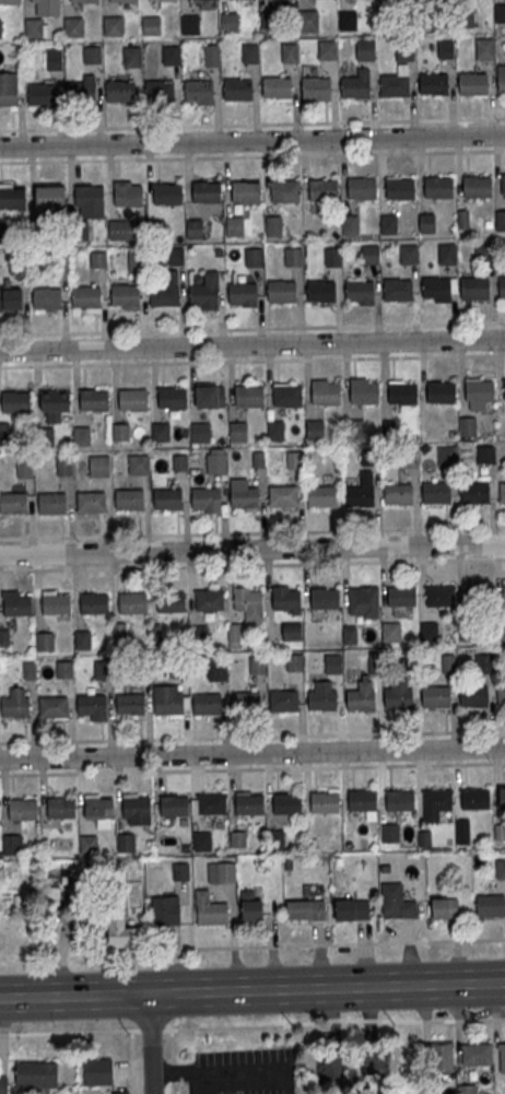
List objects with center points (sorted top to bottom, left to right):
building: (33, 0)
building: (84, 0)
building: (118, 0)
building: (162, 0)
building: (10, 1)
building: (48, 7)
building: (500, 12)
building: (463, 16)
building: (423, 17)
building: (307, 20)
building: (348, 20)
building: (385, 20)
building: (268, 21)
building: (228, 22)
building: (189, 23)
building: (151, 24)
building: (113, 25)
building: (73, 26)
building: (33, 27)
building: (0, 30)
building: (326, 48)
building: (445, 48)
building: (484, 48)
building: (366, 50)
building: (289, 51)
building: (406, 51)
building: (249, 52)
building: (91, 55)
building: (132, 55)
building: (171, 55)
building: (212, 55)
building: (54, 58)
building: (501, 78)
building: (472, 83)
building: (434, 84)
building: (277, 86)
building: (316, 86)
building: (356, 86)
building: (396, 86)
building: (8, 89)
building: (199, 89)
building: (237, 89)
building: (119, 90)
building: (82, 91)
building: (160, 91)
building: (42, 93)
road: (252, 123)
road: (251, 140)
road: (251, 155)
building: (503, 184)
building: (438, 186)
building: (477, 186)
building: (362, 187)
building: (399, 188)
building: (322, 189)
building: (205, 190)
building: (284, 190)
building: (245, 191)
building: (167, 193)
building: (128, 195)
building: (11, 196)
building: (49, 196)
building: (90, 201)
building: (500, 219)
building: (426, 222)
building: (387, 223)
building: (350, 224)
building: (234, 225)
building: (273, 225)
building: (193, 227)
building: (121, 228)
building: (39, 231)
building: (79, 231)
building: (2, 233)
building: (446, 252)
building: (369, 254)
building: (408, 254)
building: (176, 255)
building: (293, 256)
building: (332, 256)
building: (254, 257)
building: (99, 260)
building: (136, 260)
building: (61, 269)
building: (502, 285)
building: (436, 286)
building: (474, 287)
building: (359, 289)
building: (398, 289)
building: (166, 290)
building: (205, 290)
building: (281, 290)
building: (320, 290)
building: (242, 292)
building: (125, 294)
building: (85, 296)
building: (46, 297)
building: (11, 298)
road: (252, 327)
road: (252, 344)
road: (252, 361)
building: (504, 388)
building: (363, 389)
building: (479, 389)
building: (439, 390)
building: (325, 391)
building: (402, 391)
building: (286, 395)
building: (210, 396)
building: (248, 396)
building: (173, 397)
building: (94, 399)
building: (132, 399)
building: (54, 400)
building: (15, 401)
building: (467, 425)
building: (314, 428)
building: (237, 430)
building: (275, 430)
building: (160, 431)
building: (200, 431)
building: (120, 432)
building: (44, 434)
building: (81, 434)
building: (485, 454)
building: (368, 456)
building: (446, 456)
building: (408, 457)
building: (258, 459)
building: (294, 459)
building: (180, 461)
building: (214, 461)
building: (138, 463)
building: (64, 464)
building: (99, 466)
building: (337, 466)
building: (24, 468)
building: (361, 490)
building: (474, 491)
building: (502, 491)
building: (436, 492)
building: (398, 493)
building: (243, 494)
building: (283, 495)
building: (321, 495)
building: (166, 497)
building: (205, 497)
building: (129, 498)
building: (12, 502)
building: (91, 502)
building: (51, 503)
road: (252, 531)
road: (252, 549)
road: (252, 564)
building: (504, 591)
building: (401, 595)
building: (441, 595)
building: (477, 595)
building: (364, 596)
building: (286, 598)
building: (325, 598)
building: (210, 599)
building: (132, 601)
building: (171, 601)
building: (55, 602)
building: (94, 602)
building: (247, 602)
building: (16, 604)
building: (428, 630)
building: (291, 631)
building: (390, 631)
building: (234, 632)
building: (349, 634)
building: (4, 637)
building: (82, 638)
building: (44, 640)
building: (294, 661)
building: (447, 662)
building: (483, 662)
building: (332, 663)
building: (257, 664)
building: (178, 667)
building: (64, 668)
building: (216, 668)
building: (28, 669)
building: (103, 669)
building: (436, 695)
building: (473, 695)
building: (501, 695)
building: (398, 696)
building: (322, 698)
building: (360, 698)
building: (283, 699)
building: (247, 701)
building: (130, 703)
building: (168, 703)
building: (205, 703)
building: (92, 704)
building: (14, 706)
building: (52, 706)
road: (251, 736)
road: (252, 753)
road: (251, 767)
building: (475, 798)
building: (502, 798)
building: (362, 800)
building: (400, 800)
building: (325, 802)
building: (212, 803)
building: (249, 803)
building: (286, 803)
building: (436, 803)
building: (175, 805)
building: (137, 807)
building: (23, 809)
building: (61, 809)
building: (99, 809)
building: (462, 831)
building: (500, 831)
building: (389, 833)
building: (275, 837)
building: (424, 837)
building: (237, 838)
building: (202, 839)
building: (126, 842)
building: (86, 843)
building: (11, 844)
building: (500, 868)
building: (180, 871)
building: (221, 871)
building: (72, 891)
building: (58, 894)
building: (133, 894)
building: (397, 901)
building: (250, 906)
building: (491, 906)
building: (445, 907)
building: (209, 909)
building: (306, 909)
building: (352, 909)
building: (166, 910)
building: (121, 932)
road: (340, 942)
road: (177, 963)
road: (252, 990)
road: (252, 1027)
road: (152, 1043)
building: (477, 1054)
building: (442, 1056)
building: (503, 1058)
building: (380, 1064)
building: (98, 1071)
road: (221, 1072)
parking lot: (243, 1072)
building: (37, 1074)
building: (3, 1085)
building: (466, 1089)
building: (120, 1093)

